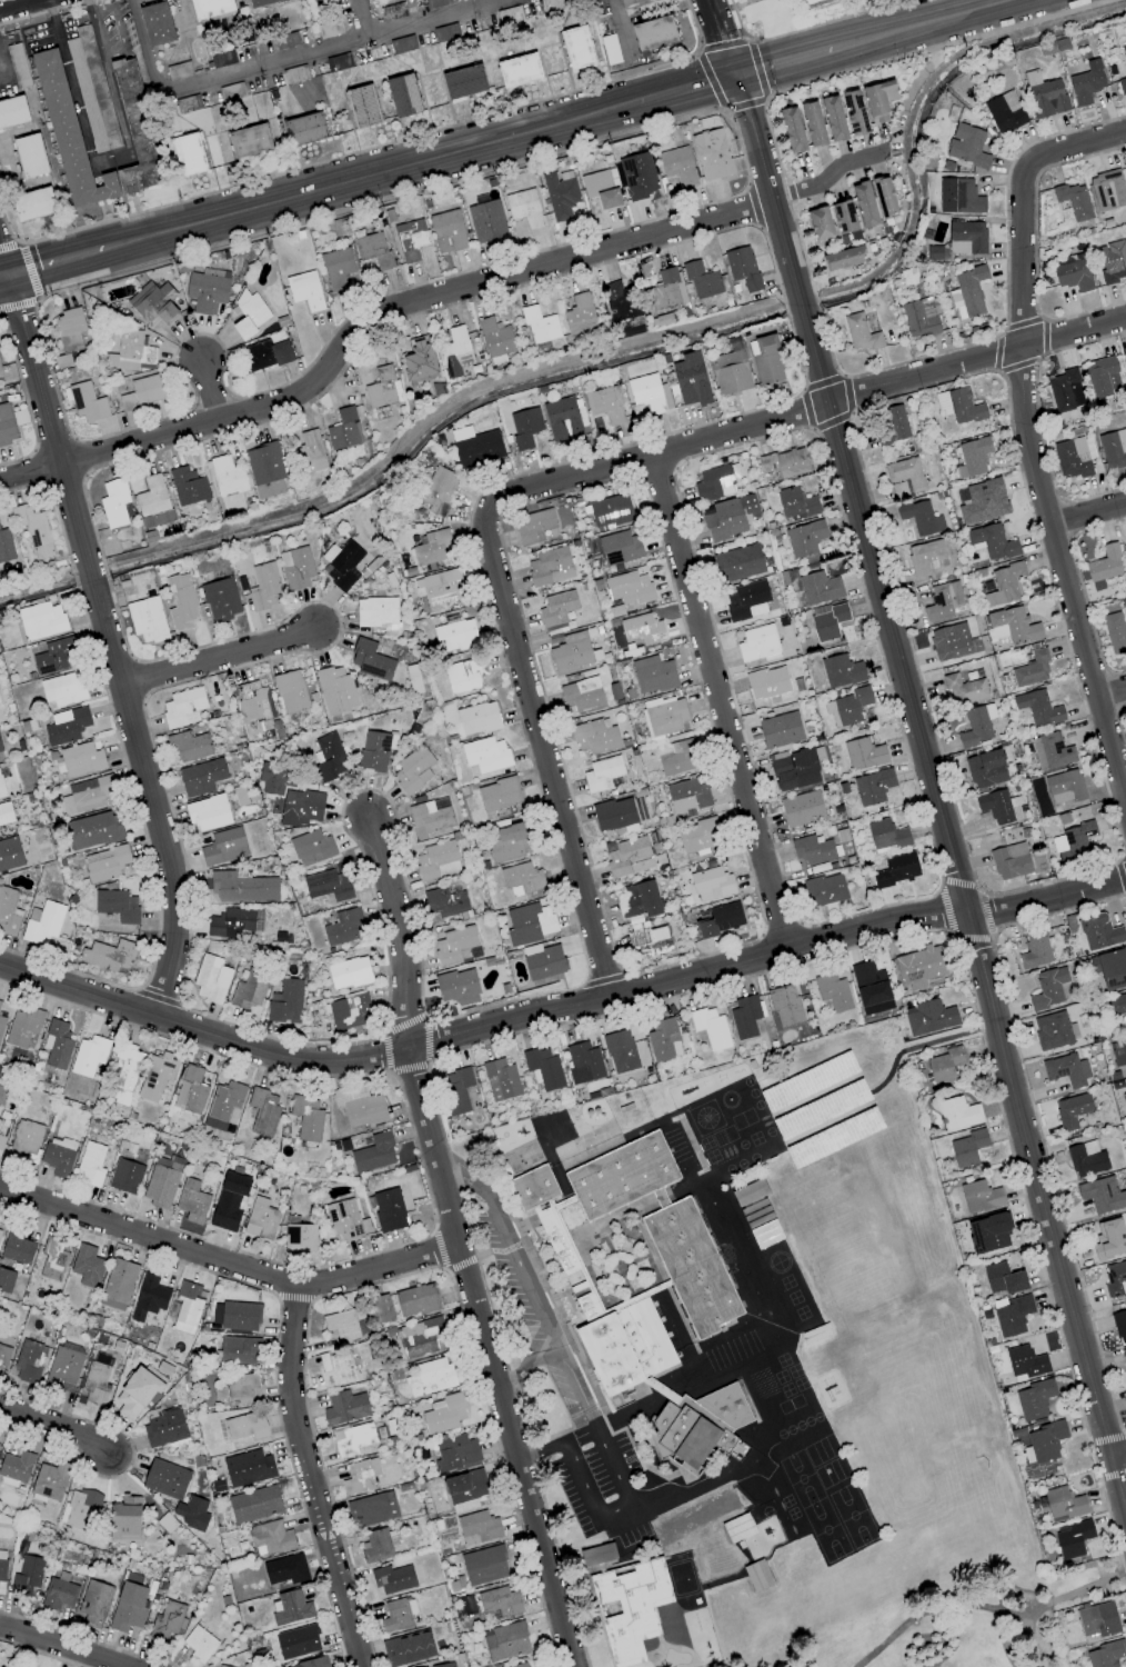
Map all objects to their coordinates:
building: (316, 0)
building: (630, 1)
building: (807, 1)
building: (262, 2)
building: (594, 2)
building: (435, 3)
road: (19, 6)
road: (89, 6)
building: (210, 8)
road: (432, 19)
building: (157, 23)
road: (921, 26)
road: (118, 29)
building: (332, 29)
road: (617, 30)
building: (445, 32)
building: (653, 33)
road: (717, 41)
building: (402, 44)
road: (140, 47)
building: (576, 47)
building: (1124, 53)
building: (222, 59)
road: (279, 60)
building: (338, 62)
road: (784, 67)
building: (178, 70)
building: (519, 70)
building: (294, 74)
building: (463, 81)
road: (70, 83)
building: (88, 83)
building: (1086, 83)
building: (1122, 86)
building: (231, 91)
building: (403, 96)
road: (683, 96)
building: (1044, 96)
road: (113, 97)
building: (878, 100)
building: (362, 107)
building: (12, 111)
building: (854, 112)
building: (1004, 112)
building: (833, 119)
building: (813, 124)
building: (304, 129)
building: (137, 130)
building: (792, 130)
building: (68, 134)
building: (249, 141)
building: (966, 146)
building: (188, 154)
building: (712, 154)
building: (30, 156)
building: (677, 166)
road: (831, 174)
building: (637, 176)
road: (369, 179)
building: (601, 188)
building: (1107, 190)
building: (961, 194)
building: (559, 196)
building: (884, 197)
building: (1073, 201)
building: (32, 204)
building: (864, 204)
road: (1017, 204)
building: (524, 208)
building: (844, 217)
building: (485, 221)
building: (820, 223)
building: (448, 231)
building: (966, 238)
building: (411, 239)
building: (373, 250)
building: (843, 258)
building: (1112, 260)
road: (54, 262)
building: (742, 268)
building: (336, 269)
road: (1, 270)
building: (1072, 272)
road: (1, 276)
building: (701, 280)
building: (207, 290)
building: (304, 290)
building: (666, 290)
building: (967, 292)
building: (620, 302)
building: (153, 303)
road: (399, 311)
building: (249, 315)
building: (579, 316)
building: (921, 317)
building: (539, 326)
building: (69, 329)
building: (861, 333)
building: (494, 340)
building: (130, 352)
building: (454, 352)
building: (265, 355)
building: (1125, 356)
building: (765, 360)
building: (419, 361)
building: (730, 372)
building: (1100, 376)
building: (691, 379)
building: (382, 388)
building: (1065, 390)
building: (143, 392)
building: (649, 393)
road: (209, 397)
building: (88, 402)
building: (605, 405)
building: (958, 406)
road: (798, 413)
building: (562, 420)
building: (7, 426)
building: (892, 426)
building: (524, 427)
building: (342, 430)
building: (1113, 448)
building: (477, 449)
building: (310, 452)
building: (972, 457)
building: (1072, 458)
building: (784, 462)
building: (265, 471)
road: (29, 473)
building: (225, 476)
building: (904, 477)
building: (714, 483)
building: (188, 486)
building: (438, 490)
building: (152, 496)
building: (113, 502)
building: (983, 502)
building: (795, 505)
building: (610, 511)
road: (1085, 513)
building: (728, 517)
building: (919, 518)
building: (157, 519)
building: (534, 527)
building: (33, 529)
building: (804, 538)
building: (1125, 539)
building: (992, 542)
building: (6, 546)
building: (432, 548)
building: (619, 548)
building: (924, 557)
building: (341, 563)
building: (738, 563)
building: (550, 567)
building: (1103, 567)
building: (296, 568)
road: (1060, 582)
building: (1004, 585)
building: (263, 587)
building: (438, 588)
building: (629, 588)
building: (818, 588)
building: (220, 600)
building: (746, 601)
building: (944, 601)
building: (181, 602)
building: (378, 613)
building: (556, 613)
building: (147, 619)
building: (41, 620)
building: (828, 620)
building: (1014, 625)
building: (642, 629)
building: (1115, 632)
building: (454, 635)
building: (949, 642)
building: (757, 643)
road: (110, 645)
building: (572, 652)
building: (54, 656)
road: (218, 656)
building: (370, 660)
building: (1031, 669)
building: (841, 671)
building: (653, 675)
building: (462, 676)
building: (767, 682)
building: (964, 689)
building: (62, 690)
building: (335, 690)
building: (290, 691)
building: (582, 695)
road: (1110, 695)
road: (718, 703)
building: (253, 706)
building: (847, 707)
building: (182, 708)
building: (1037, 708)
building: (664, 717)
building: (477, 718)
building: (66, 726)
building: (976, 726)
building: (780, 730)
building: (594, 737)
building: (188, 746)
building: (374, 750)
building: (1050, 751)
road: (540, 752)
building: (864, 753)
building: (1, 755)
building: (485, 755)
building: (329, 757)
building: (676, 757)
building: (79, 760)
building: (794, 769)
building: (985, 769)
building: (412, 771)
building: (602, 773)
building: (200, 777)
building: (275, 779)
building: (872, 787)
building: (1064, 787)
building: (1, 790)
building: (499, 793)
building: (87, 795)
building: (686, 798)
road: (935, 799)
building: (302, 805)
building: (998, 807)
building: (802, 808)
building: (208, 812)
building: (6, 813)
building: (431, 815)
building: (93, 830)
building: (885, 835)
building: (697, 836)
building: (1073, 841)
building: (510, 842)
building: (223, 847)
building: (311, 848)
building: (812, 850)
building: (9, 854)
building: (627, 856)
building: (436, 860)
building: (1011, 861)
building: (104, 864)
building: (896, 869)
building: (521, 879)
building: (711, 884)
building: (326, 886)
building: (235, 887)
building: (824, 890)
building: (640, 900)
building: (444, 902)
building: (115, 905)
building: (8, 911)
building: (718, 919)
building: (42, 922)
building: (233, 922)
building: (529, 924)
building: (343, 926)
building: (1097, 932)
building: (649, 942)
building: (453, 945)
building: (1033, 950)
building: (108, 956)
building: (542, 961)
building: (1112, 967)
building: (918, 968)
building: (349, 972)
building: (211, 979)
building: (868, 984)
building: (455, 985)
building: (1047, 987)
building: (249, 991)
building: (832, 992)
building: (0, 1002)
building: (285, 1002)
building: (1114, 1005)
building: (785, 1006)
road: (562, 1008)
building: (349, 1010)
building: (744, 1017)
building: (929, 1018)
building: (1, 1022)
building: (710, 1028)
building: (1048, 1030)
building: (22, 1032)
building: (663, 1040)
building: (57, 1045)
building: (620, 1051)
building: (1122, 1052)
building: (88, 1057)
building: (585, 1060)
building: (945, 1067)
building: (543, 1068)
building: (1066, 1068)
building: (124, 1071)
building: (157, 1076)
road: (888, 1076)
building: (500, 1079)
building: (190, 1090)
building: (456, 1090)
building: (2, 1095)
building: (1124, 1100)
building: (360, 1106)
building: (223, 1107)
building: (1070, 1110)
building: (262, 1111)
building: (956, 1114)
building: (306, 1118)
building: (2, 1130)
building: (23, 1140)
building: (967, 1148)
building: (373, 1154)
building: (58, 1156)
building: (1083, 1161)
building: (91, 1164)
building: (124, 1176)
building: (160, 1182)
road: (472, 1184)
building: (748, 1192)
building: (1099, 1194)
building: (979, 1197)
building: (191, 1201)
building: (229, 1201)
building: (389, 1210)
building: (260, 1219)
building: (346, 1220)
building: (761, 1224)
building: (1, 1227)
building: (988, 1232)
building: (1110, 1239)
road: (458, 1246)
building: (17, 1248)
building: (52, 1259)
road: (228, 1260)
building: (87, 1266)
building: (1003, 1278)
road: (526, 1279)
building: (6, 1280)
building: (1110, 1280)
building: (118, 1285)
building: (149, 1297)
building: (415, 1300)
building: (708, 1305)
building: (188, 1307)
building: (381, 1309)
building: (1011, 1314)
building: (239, 1316)
building: (1118, 1325)
building: (342, 1326)
building: (422, 1337)
building: (238, 1350)
building: (1125, 1354)
building: (3, 1357)
building: (30, 1361)
building: (1025, 1362)
road: (523, 1366)
building: (64, 1367)
building: (336, 1367)
building: (431, 1377)
building: (97, 1379)
building: (237, 1389)
building: (137, 1394)
building: (1034, 1399)
building: (344, 1407)
building: (443, 1414)
building: (245, 1427)
building: (163, 1429)
road: (54, 1433)
building: (352, 1438)
building: (1045, 1441)
building: (455, 1454)
road: (1117, 1457)
building: (16, 1466)
building: (248, 1468)
road: (305, 1476)
building: (360, 1476)
building: (165, 1479)
building: (50, 1480)
road: (627, 1500)
building: (254, 1504)
building: (1063, 1504)
building: (722, 1505)
building: (79, 1509)
building: (372, 1509)
building: (124, 1519)
building: (684, 1523)
building: (477, 1527)
building: (737, 1528)
building: (270, 1538)
building: (1073, 1539)
building: (378, 1546)
building: (597, 1555)
building: (2, 1564)
building: (483, 1566)
building: (285, 1569)
building: (757, 1575)
building: (27, 1576)
building: (392, 1578)
building: (58, 1594)
road: (991, 1595)
building: (93, 1603)
building: (497, 1603)
building: (129, 1604)
building: (290, 1608)
building: (630, 1609)
building: (396, 1615)
building: (168, 1620)
building: (1097, 1620)
park: (957, 1627)
road: (1031, 1637)
building: (296, 1641)
building: (505, 1641)
building: (199, 1644)
road: (61, 1648)
building: (408, 1648)
building: (1105, 1654)
building: (312, 1663)
building: (444, 1665)
building: (520, 1665)
building: (220, 1666)
building: (536, 1666)

